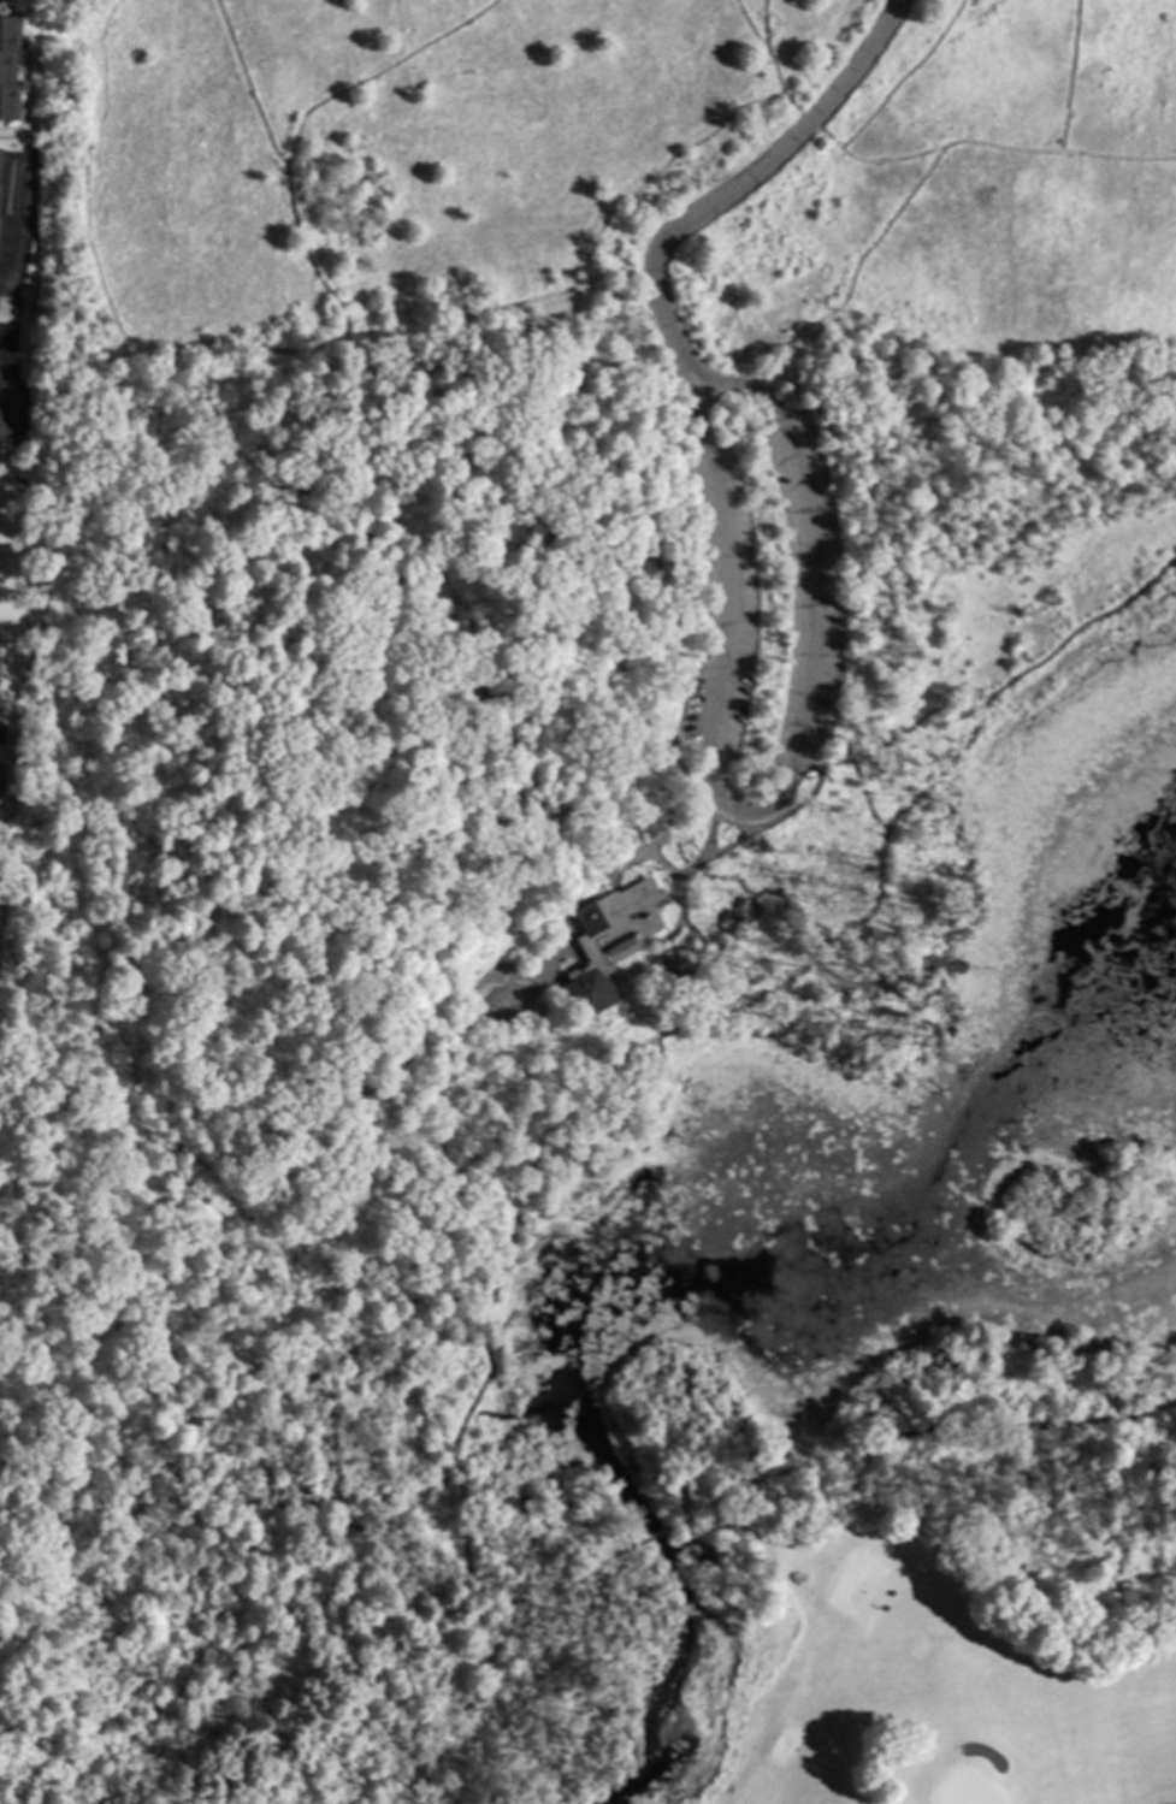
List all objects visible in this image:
road: (762, 25)
road: (766, 57)
building: (8, 66)
road: (374, 73)
road: (1066, 75)
road: (902, 76)
road: (808, 122)
road: (18, 136)
road: (991, 146)
road: (657, 167)
road: (738, 187)
road: (13, 227)
road: (85, 246)
road: (852, 272)
road: (717, 384)
road: (483, 385)
road: (7, 397)
building: (1, 430)
building: (0, 436)
road: (159, 524)
parking lot: (763, 602)
building: (0, 780)
road: (857, 783)
road: (696, 788)
road: (760, 809)
road: (708, 838)
road: (660, 863)
building: (734, 903)
park: (599, 910)
building: (721, 915)
building: (734, 916)
road: (568, 922)
road: (500, 933)
road: (821, 941)
building: (608, 942)
road: (741, 982)
road: (859, 983)
road: (376, 1009)
road: (658, 1059)
pier: (691, 1088)
road: (455, 1195)
road: (170, 1222)
road: (514, 1223)
road: (410, 1264)
road: (471, 1268)
pier: (509, 1317)
road: (492, 1325)
road: (924, 1433)
road: (454, 1439)
road: (261, 1481)
building: (921, 1508)
road: (65, 1532)
road: (175, 1534)
road: (274, 1556)
road: (593, 1563)
park: (879, 1680)
road: (506, 1703)
road: (442, 1720)

